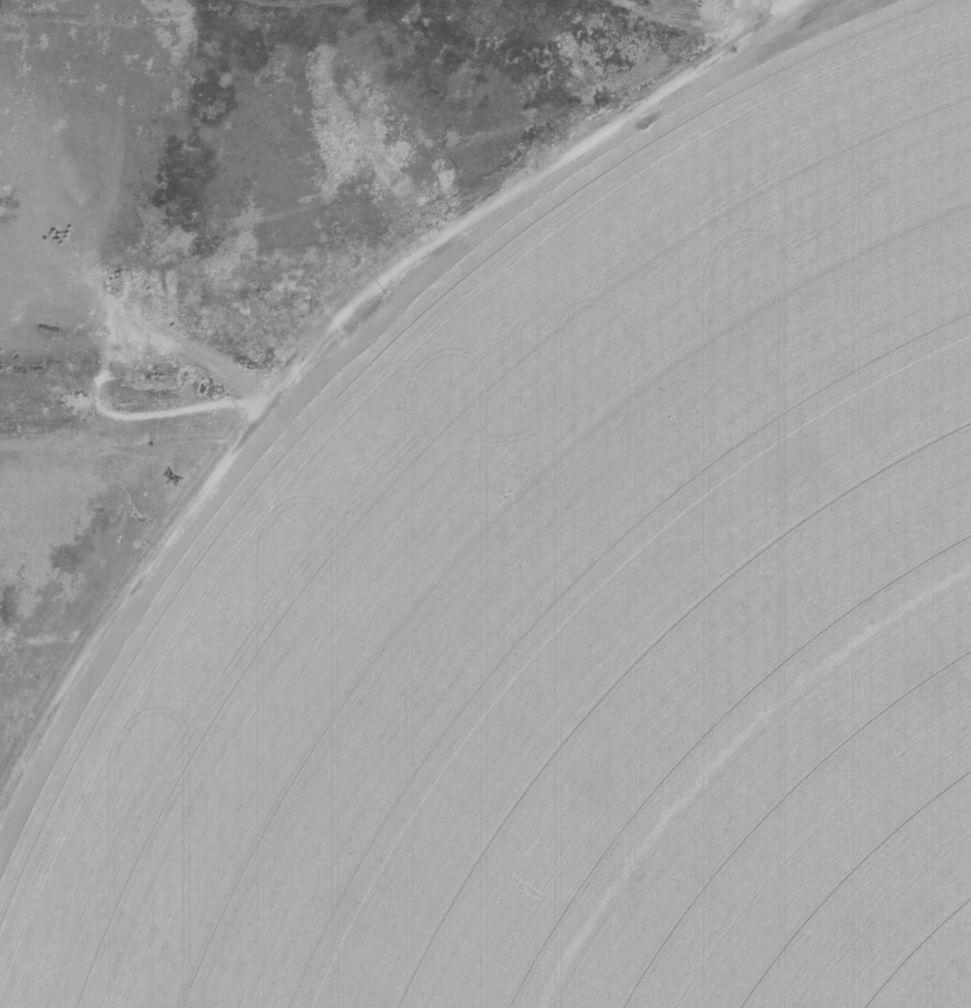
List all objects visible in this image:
road: (730, 504)

